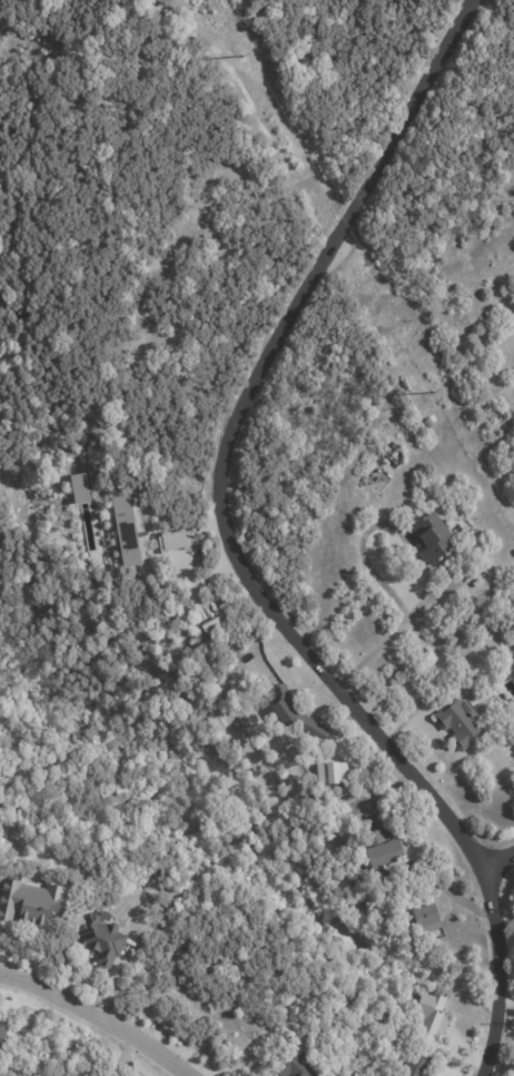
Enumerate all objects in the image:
power tower: (239, 53)
power tower: (431, 393)
building: (407, 442)
building: (80, 486)
building: (129, 531)
building: (432, 537)
building: (175, 541)
road: (235, 552)
road: (416, 555)
building: (210, 628)
building: (248, 658)
building: (288, 718)
building: (458, 722)
building: (330, 774)
building: (380, 855)
road: (500, 857)
building: (30, 901)
building: (425, 918)
building: (100, 939)
building: (431, 1014)
road: (100, 1016)
building: (2, 1029)
building: (293, 1065)
building: (414, 1066)

